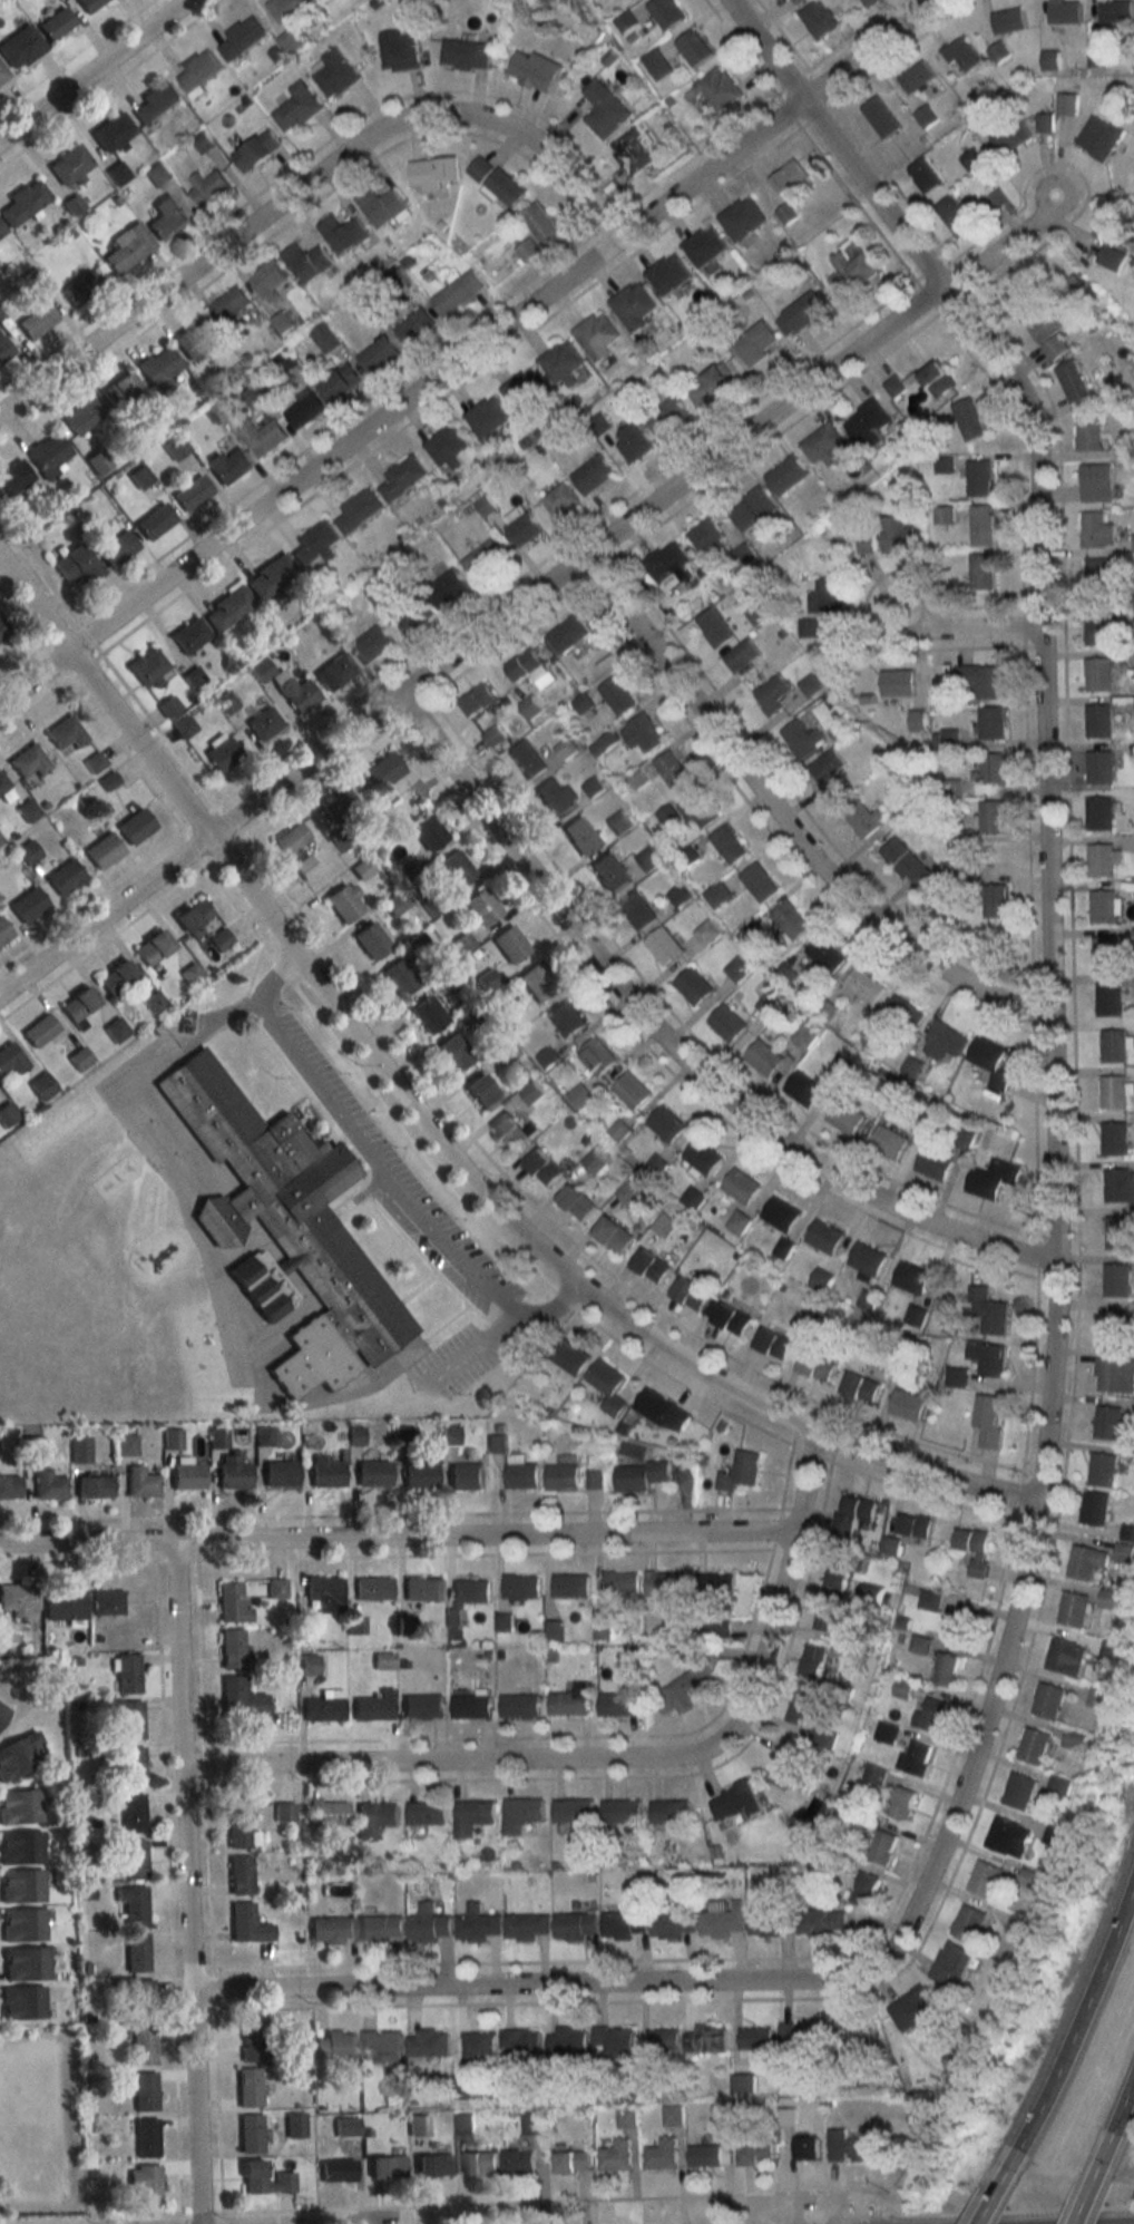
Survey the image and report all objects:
building: (89, 4)
building: (286, 8)
building: (1115, 11)
building: (665, 12)
building: (1064, 12)
building: (817, 18)
building: (1007, 20)
building: (55, 23)
building: (242, 37)
building: (20, 46)
building: (693, 47)
building: (399, 49)
building: (960, 52)
building: (997, 52)
building: (465, 53)
building: (1048, 59)
building: (655, 62)
road: (92, 69)
building: (534, 69)
building: (333, 72)
building: (2, 75)
building: (916, 77)
building: (717, 89)
building: (155, 103)
building: (1066, 104)
building: (296, 107)
building: (604, 109)
building: (925, 116)
building: (880, 117)
building: (1043, 123)
building: (113, 131)
building: (1009, 137)
building: (1098, 137)
building: (255, 150)
building: (633, 150)
building: (970, 159)
building: (69, 165)
building: (433, 172)
building: (157, 175)
building: (923, 175)
building: (786, 177)
road: (305, 181)
building: (496, 181)
building: (208, 188)
building: (995, 199)
building: (22, 203)
building: (380, 205)
building: (954, 216)
building: (166, 217)
building: (742, 217)
building: (539, 221)
building: (1, 232)
building: (342, 233)
building: (1108, 240)
building: (126, 246)
building: (704, 246)
building: (526, 248)
building: (306, 261)
building: (850, 273)
building: (667, 274)
building: (268, 281)
building: (80, 287)
building: (457, 293)
building: (1020, 303)
building: (231, 304)
building: (632, 304)
building: (800, 314)
building: (36, 320)
building: (413, 325)
building: (596, 334)
building: (1048, 334)
building: (324, 336)
building: (195, 339)
building: (756, 342)
building: (4, 350)
road: (463, 350)
building: (377, 354)
building: (560, 361)
building: (158, 365)
building: (937, 379)
building: (1072, 381)
building: (340, 382)
building: (708, 386)
building: (120, 389)
building: (525, 389)
building: (304, 410)
building: (487, 416)
building: (665, 416)
building: (81, 417)
building: (968, 419)
building: (868, 423)
building: (1086, 432)
building: (262, 436)
building: (633, 439)
building: (446, 445)
building: (822, 445)
building: (1126, 451)
building: (48, 452)
building: (226, 465)
building: (592, 472)
building: (785, 472)
building: (140, 476)
building: (13, 478)
building: (401, 478)
building: (978, 478)
building: (1095, 482)
building: (192, 492)
building: (559, 497)
building: (751, 508)
building: (359, 510)
building: (944, 515)
building: (155, 520)
building: (521, 525)
building: (980, 525)
building: (1095, 530)
building: (896, 535)
building: (706, 537)
building: (864, 543)
building: (315, 545)
building: (117, 548)
building: (742, 554)
building: (482, 559)
building: (77, 563)
building: (668, 565)
building: (1099, 570)
building: (980, 572)
building: (270, 575)
building: (446, 587)
road: (526, 592)
building: (825, 595)
building: (227, 608)
building: (412, 613)
building: (756, 613)
road: (968, 624)
building: (713, 627)
building: (809, 627)
building: (1096, 627)
building: (3, 628)
building: (567, 634)
building: (189, 635)
building: (371, 643)
building: (739, 656)
building: (147, 667)
building: (338, 669)
building: (529, 669)
building: (260, 670)
building: (1097, 674)
building: (981, 681)
building: (896, 683)
building: (809, 684)
building: (297, 693)
building: (771, 693)
building: (616, 695)
building: (476, 700)
building: (225, 702)
building: (583, 703)
building: (168, 705)
building: (1097, 721)
building: (263, 723)
building: (990, 723)
building: (184, 726)
building: (641, 733)
building: (65, 735)
building: (492, 737)
building: (796, 740)
building: (603, 743)
building: (221, 752)
building: (527, 760)
building: (28, 763)
building: (1098, 768)
building: (671, 770)
building: (991, 770)
building: (827, 771)
building: (391, 773)
building: (109, 781)
building: (3, 784)
building: (593, 787)
building: (553, 798)
building: (338, 804)
building: (697, 809)
building: (1098, 815)
building: (862, 818)
building: (991, 818)
road: (784, 820)
building: (618, 822)
building: (135, 827)
building: (428, 832)
building: (580, 836)
building: (340, 840)
building: (727, 843)
building: (295, 850)
building: (102, 851)
building: (28, 852)
building: (648, 858)
building: (1101, 860)
building: (905, 864)
building: (362, 869)
building: (456, 869)
building: (607, 874)
building: (65, 878)
building: (757, 882)
building: (678, 895)
building: (989, 899)
building: (344, 903)
building: (28, 906)
building: (482, 907)
building: (1102, 907)
building: (635, 910)
building: (789, 920)
building: (202, 926)
building: (3, 931)
building: (706, 933)
building: (371, 940)
building: (509, 944)
building: (663, 946)
building: (151, 947)
road: (1049, 952)
building: (1105, 953)
building: (824, 955)
building: (736, 969)
building: (116, 977)
building: (399, 978)
building: (537, 982)
building: (863, 985)
building: (693, 986)
building: (1108, 999)
building: (154, 1002)
building: (78, 1003)
building: (428, 1014)
building: (903, 1014)
building: (566, 1018)
building: (726, 1024)
building: (39, 1030)
building: (116, 1030)
road: (178, 1034)
building: (803, 1037)
building: (944, 1041)
road: (673, 1043)
building: (1114, 1046)
building: (454, 1052)
building: (597, 1055)
building: (79, 1059)
building: (763, 1059)
building: (11, 1060)
building: (989, 1062)
building: (41, 1086)
building: (803, 1090)
building: (630, 1091)
building: (482, 1093)
building: (1113, 1093)
building: (579, 1096)
building: (6, 1114)
building: (845, 1118)
road: (437, 1125)
building: (665, 1125)
building: (510, 1132)
building: (964, 1139)
building: (1114, 1139)
building: (889, 1143)
building: (702, 1157)
building: (932, 1164)
building: (542, 1168)
road: (381, 1169)
building: (991, 1179)
building: (740, 1186)
building: (1118, 1186)
building: (628, 1193)
building: (576, 1203)
building: (780, 1215)
building: (289, 1225)
building: (663, 1225)
building: (1117, 1232)
building: (613, 1235)
building: (823, 1236)
building: (866, 1258)
building: (649, 1266)
building: (911, 1278)
building: (1116, 1279)
building: (262, 1285)
building: (690, 1294)
building: (986, 1314)
building: (727, 1317)
building: (1115, 1327)
building: (773, 1344)
road: (473, 1349)
building: (570, 1358)
building: (988, 1358)
building: (817, 1367)
building: (1114, 1375)
building: (607, 1386)
building: (860, 1388)
building: (907, 1406)
building: (662, 1411)
building: (986, 1422)
building: (1106, 1423)
building: (31, 1445)
building: (126, 1445)
building: (80, 1450)
building: (234, 1471)
building: (1101, 1471)
building: (325, 1472)
building: (740, 1472)
building: (281, 1474)
building: (372, 1474)
building: (419, 1475)
building: (639, 1475)
building: (188, 1476)
building: (521, 1476)
building: (466, 1477)
building: (561, 1477)
building: (594, 1480)
building: (141, 1483)
building: (48, 1485)
building: (9, 1487)
building: (94, 1487)
building: (1093, 1509)
building: (851, 1516)
building: (913, 1525)
road: (394, 1540)
building: (890, 1545)
building: (972, 1549)
building: (1123, 1553)
building: (1084, 1562)
building: (838, 1572)
building: (619, 1583)
building: (664, 1583)
building: (570, 1586)
building: (520, 1587)
building: (276, 1589)
building: (373, 1589)
building: (422, 1589)
building: (713, 1590)
building: (325, 1593)
building: (467, 1598)
building: (19, 1599)
building: (929, 1600)
building: (1111, 1600)
building: (107, 1603)
building: (232, 1604)
building: (65, 1606)
building: (1071, 1609)
building: (825, 1615)
building: (551, 1625)
building: (958, 1625)
building: (720, 1628)
building: (232, 1649)
building: (1064, 1657)
building: (812, 1661)
building: (309, 1665)
building: (946, 1670)
building: (127, 1674)
building: (683, 1688)
building: (902, 1689)
building: (241, 1698)
building: (1096, 1698)
building: (1046, 1700)
building: (567, 1704)
building: (616, 1704)
building: (519, 1705)
building: (374, 1706)
building: (422, 1706)
building: (470, 1706)
building: (803, 1707)
building: (323, 1709)
building: (2, 1710)
building: (930, 1716)
building: (127, 1718)
building: (822, 1738)
building: (1073, 1739)
building: (1032, 1745)
building: (18, 1755)
building: (913, 1758)
road: (618, 1759)
building: (785, 1765)
building: (133, 1767)
building: (872, 1774)
building: (1056, 1786)
building: (1017, 1791)
building: (734, 1801)
building: (900, 1803)
building: (19, 1806)
building: (571, 1810)
building: (284, 1811)
building: (619, 1811)
building: (668, 1811)
building: (328, 1812)
building: (133, 1813)
building: (424, 1813)
building: (520, 1813)
building: (374, 1817)
building: (473, 1818)
building: (237, 1827)
building: (1006, 1836)
building: (881, 1845)
building: (20, 1847)
building: (129, 1856)
building: (239, 1874)
building: (984, 1879)
road: (187, 1883)
building: (21, 1886)
building: (866, 1890)
building: (134, 1905)
building: (769, 1921)
building: (720, 1922)
building: (820, 1922)
building: (247, 1923)
building: (671, 1923)
building: (967, 1923)
building: (429, 1924)
building: (477, 1924)
building: (624, 1924)
building: (22, 1925)
building: (574, 1925)
building: (525, 1927)
building: (380, 1928)
building: (331, 1930)
building: (136, 1952)
building: (949, 1962)
building: (26, 1963)
road: (532, 1987)
building: (139, 1998)
building: (21, 2002)
building: (912, 2007)
building: (851, 2032)
building: (802, 2037)
road: (1074, 2037)
building: (754, 2038)
building: (706, 2039)
building: (569, 2040)
building: (252, 2041)
building: (613, 2041)
building: (662, 2041)
building: (521, 2042)
building: (428, 2043)
building: (143, 2045)
building: (335, 2045)
building: (381, 2046)
building: (478, 2048)
building: (248, 2087)
building: (145, 2091)
building: (672, 2115)
building: (626, 2117)
building: (531, 2123)
building: (463, 2124)
building: (294, 2125)
road: (1114, 2132)
building: (250, 2134)
building: (146, 2136)
building: (806, 2147)
building: (854, 2147)
building: (756, 2152)
building: (662, 2154)
building: (615, 2155)
building: (708, 2155)
building: (518, 2160)
building: (573, 2160)
building: (480, 2162)
building: (432, 2164)
building: (387, 2166)
building: (336, 2169)
building: (252, 2176)
building: (145, 2183)
road: (1085, 2202)
road: (991, 2203)
road: (1120, 2223)

